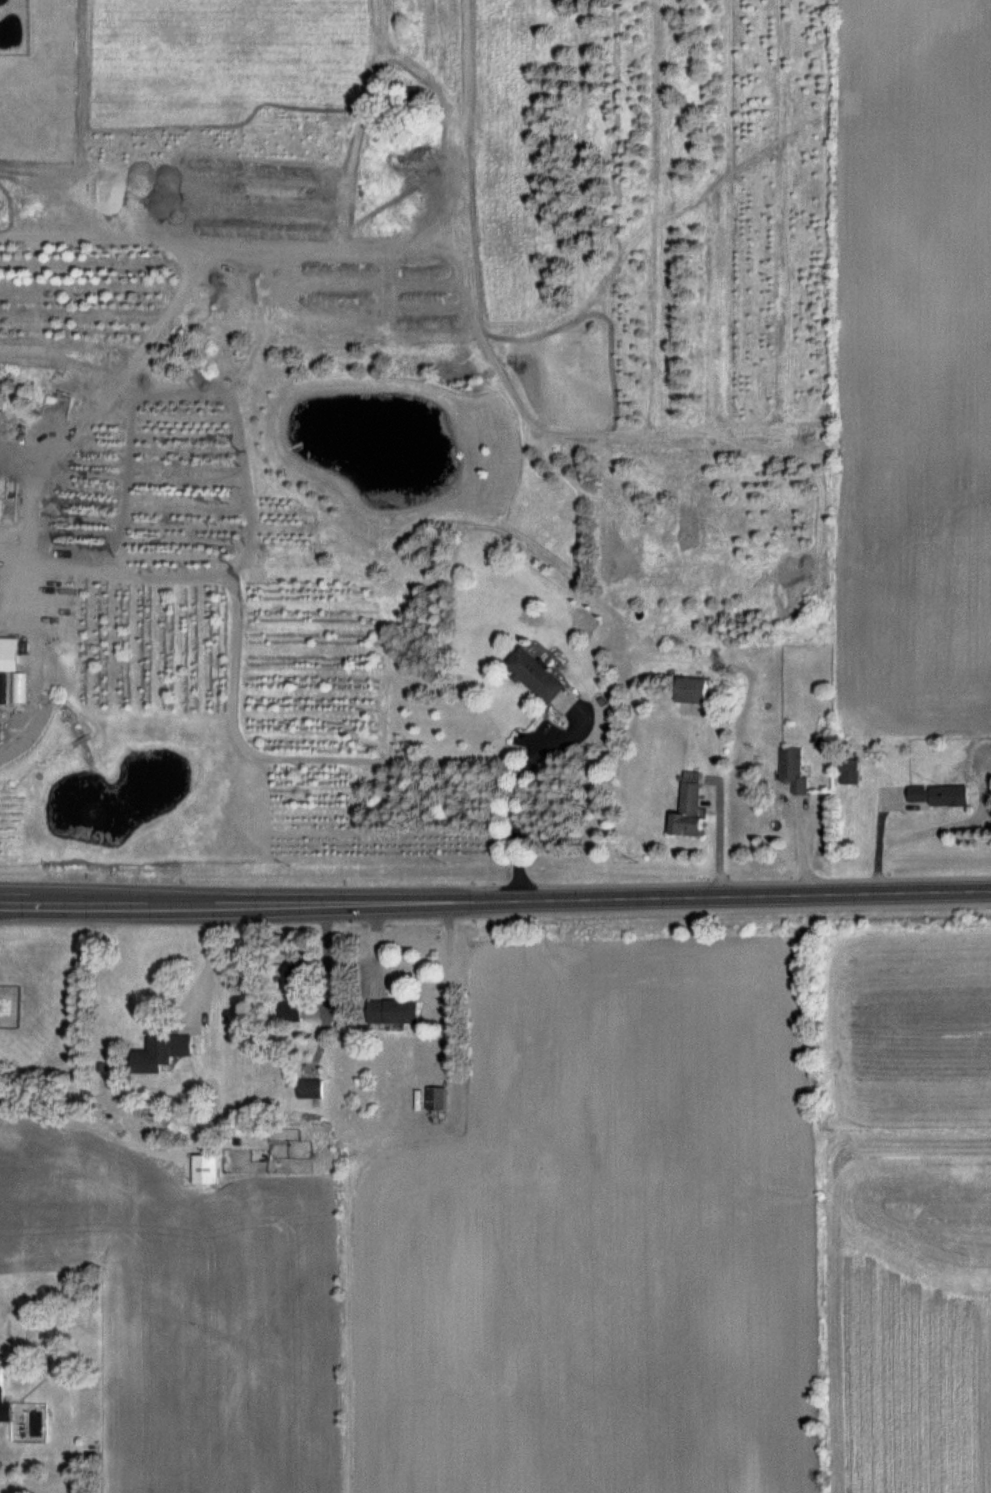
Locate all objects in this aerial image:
building: (415, 94)
building: (9, 655)
building: (536, 675)
building: (693, 691)
building: (795, 769)
road: (517, 772)
building: (850, 772)
building: (940, 797)
building: (689, 807)
road: (495, 901)
road: (211, 962)
road: (327, 990)
building: (393, 1012)
building: (291, 1013)
building: (162, 1052)
building: (310, 1090)
building: (436, 1100)
building: (206, 1170)
building: (2, 1394)

